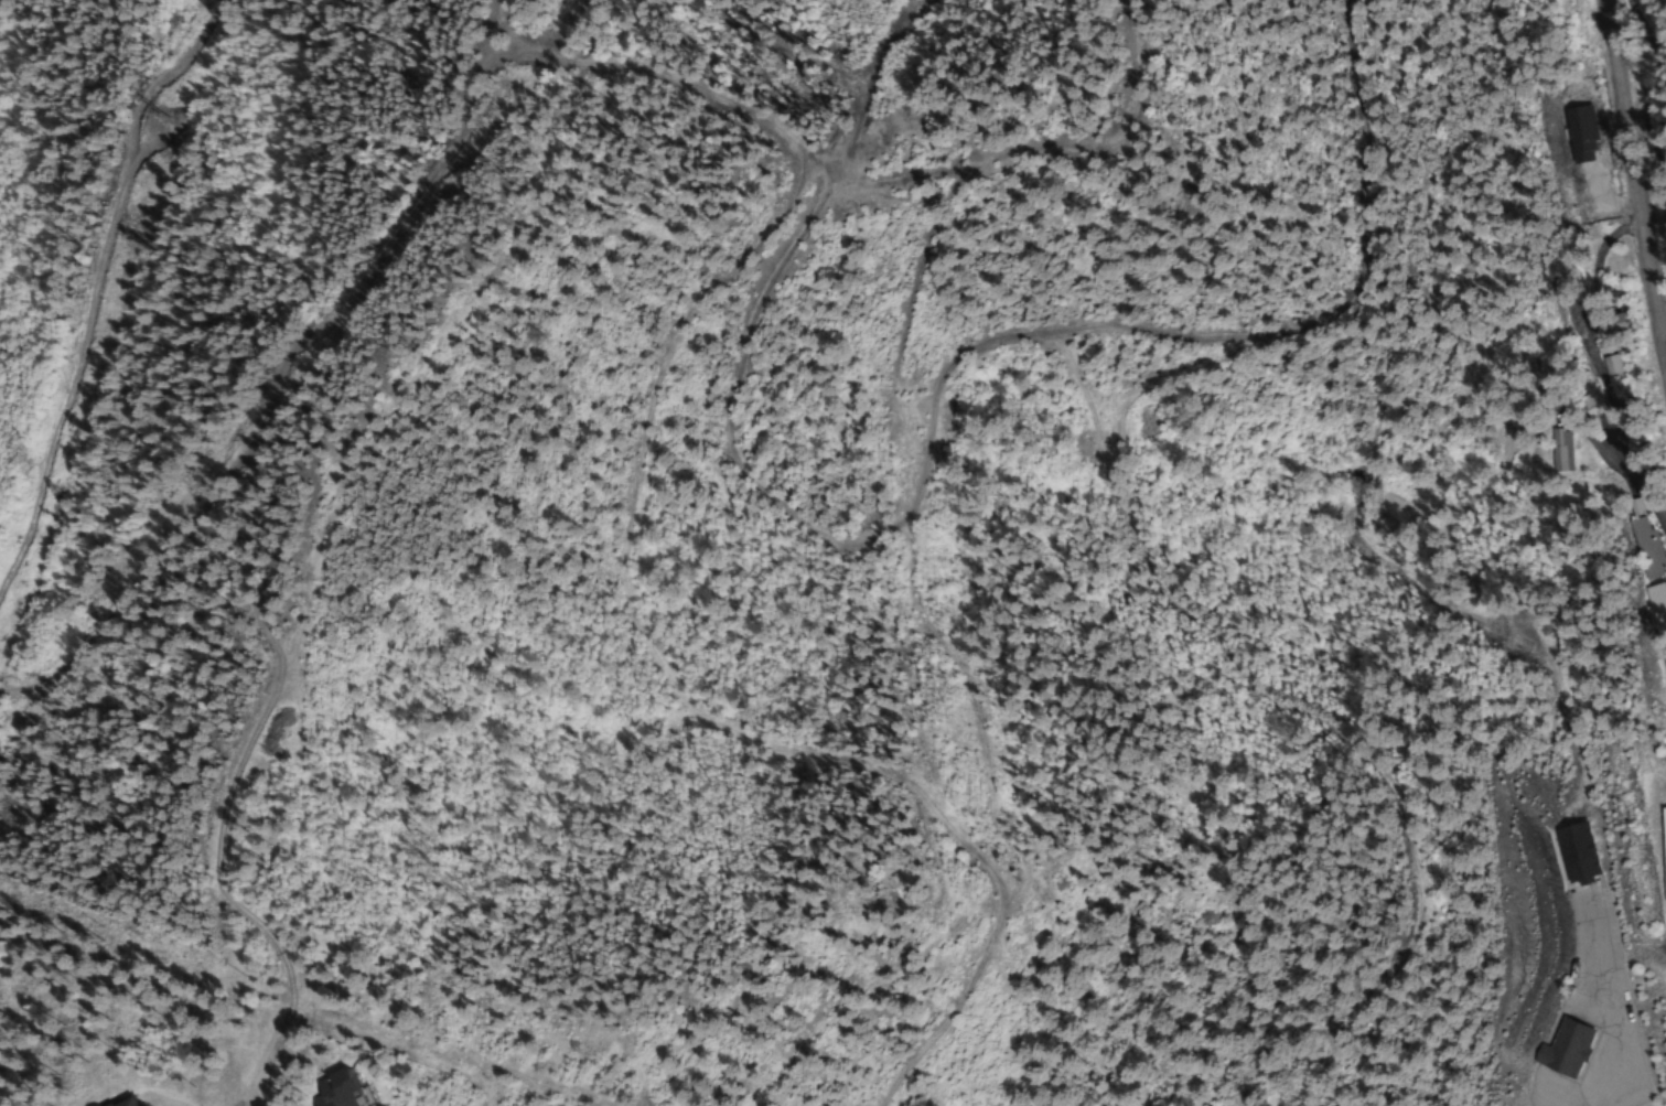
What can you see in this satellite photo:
building: (1577, 114)
road: (1635, 173)
building: (1611, 326)
building: (1591, 408)
building: (1631, 447)
building: (1558, 451)
building: (1664, 503)
building: (1643, 544)
building: (1656, 605)
building: (1664, 667)
building: (1571, 852)
building: (1663, 852)
building: (1561, 1049)
building: (325, 1091)
building: (104, 1105)

